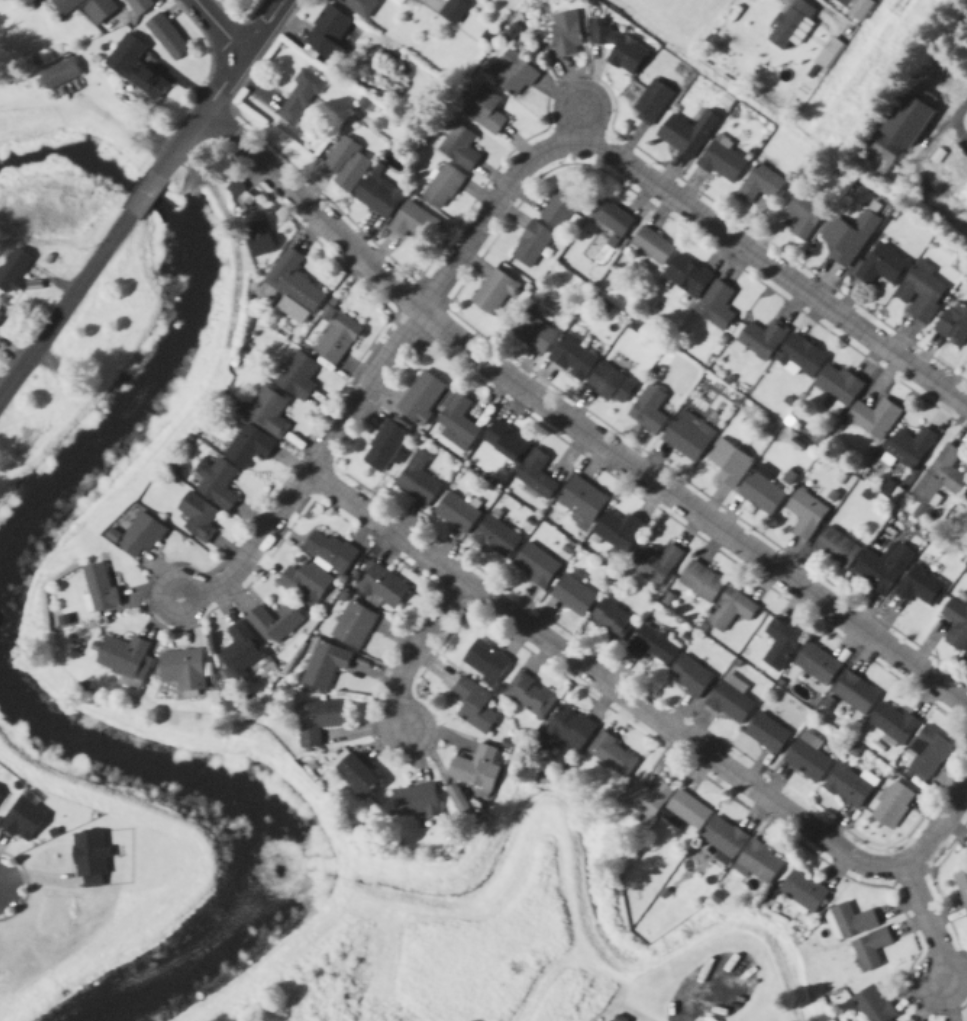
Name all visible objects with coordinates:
building: (71, 5)
building: (360, 6)
building: (854, 6)
building: (143, 7)
building: (453, 11)
road: (819, 12)
building: (793, 24)
road: (214, 32)
building: (566, 33)
building: (328, 34)
building: (171, 37)
building: (618, 48)
road: (246, 55)
building: (140, 68)
building: (514, 74)
building: (65, 75)
building: (299, 98)
building: (651, 103)
building: (485, 111)
road: (948, 112)
building: (908, 116)
building: (686, 133)
road: (186, 146)
building: (459, 148)
building: (721, 162)
building: (347, 164)
building: (759, 184)
building: (443, 186)
building: (240, 194)
building: (378, 196)
road: (146, 198)
road: (674, 201)
building: (560, 208)
building: (804, 216)
building: (611, 218)
building: (411, 221)
building: (848, 237)
building: (258, 238)
building: (531, 245)
building: (651, 245)
building: (883, 266)
building: (17, 272)
building: (687, 276)
building: (293, 288)
building: (493, 293)
building: (921, 293)
building: (716, 306)
road: (65, 310)
building: (2, 314)
building: (953, 326)
building: (532, 333)
building: (762, 339)
building: (336, 340)
building: (801, 356)
building: (572, 358)
building: (966, 359)
building: (297, 376)
building: (610, 385)
building: (838, 386)
road: (3, 390)
building: (421, 398)
building: (269, 410)
building: (648, 410)
building: (458, 419)
building: (873, 419)
road: (574, 425)
building: (688, 436)
building: (505, 441)
building: (248, 447)
building: (384, 447)
building: (910, 447)
building: (726, 464)
building: (941, 474)
road: (319, 475)
building: (536, 475)
building: (417, 480)
building: (216, 483)
building: (761, 490)
building: (965, 495)
building: (581, 500)
building: (456, 513)
building: (805, 514)
building: (197, 517)
building: (617, 531)
building: (141, 537)
building: (496, 538)
building: (836, 548)
building: (329, 550)
building: (655, 564)
building: (535, 566)
building: (882, 569)
building: (701, 582)
building: (305, 583)
building: (920, 587)
building: (382, 588)
building: (99, 589)
building: (573, 596)
building: (730, 611)
building: (610, 621)
building: (273, 624)
building: (955, 625)
building: (353, 626)
building: (780, 645)
building: (651, 646)
building: (239, 652)
road: (415, 653)
building: (125, 658)
building: (486, 661)
building: (816, 664)
building: (324, 666)
building: (182, 670)
building: (689, 676)
road: (607, 684)
building: (855, 693)
building: (530, 695)
building: (729, 700)
building: (471, 701)
building: (317, 721)
building: (893, 723)
building: (565, 729)
building: (766, 733)
building: (928, 753)
building: (612, 755)
building: (807, 757)
building: (475, 767)
building: (353, 774)
building: (847, 786)
building: (413, 800)
building: (668, 805)
building: (892, 805)
road: (937, 827)
building: (723, 839)
building: (759, 863)
building: (962, 886)
building: (802, 891)
road: (928, 919)
building: (851, 920)
building: (869, 949)
building: (873, 1004)
building: (619, 1018)

